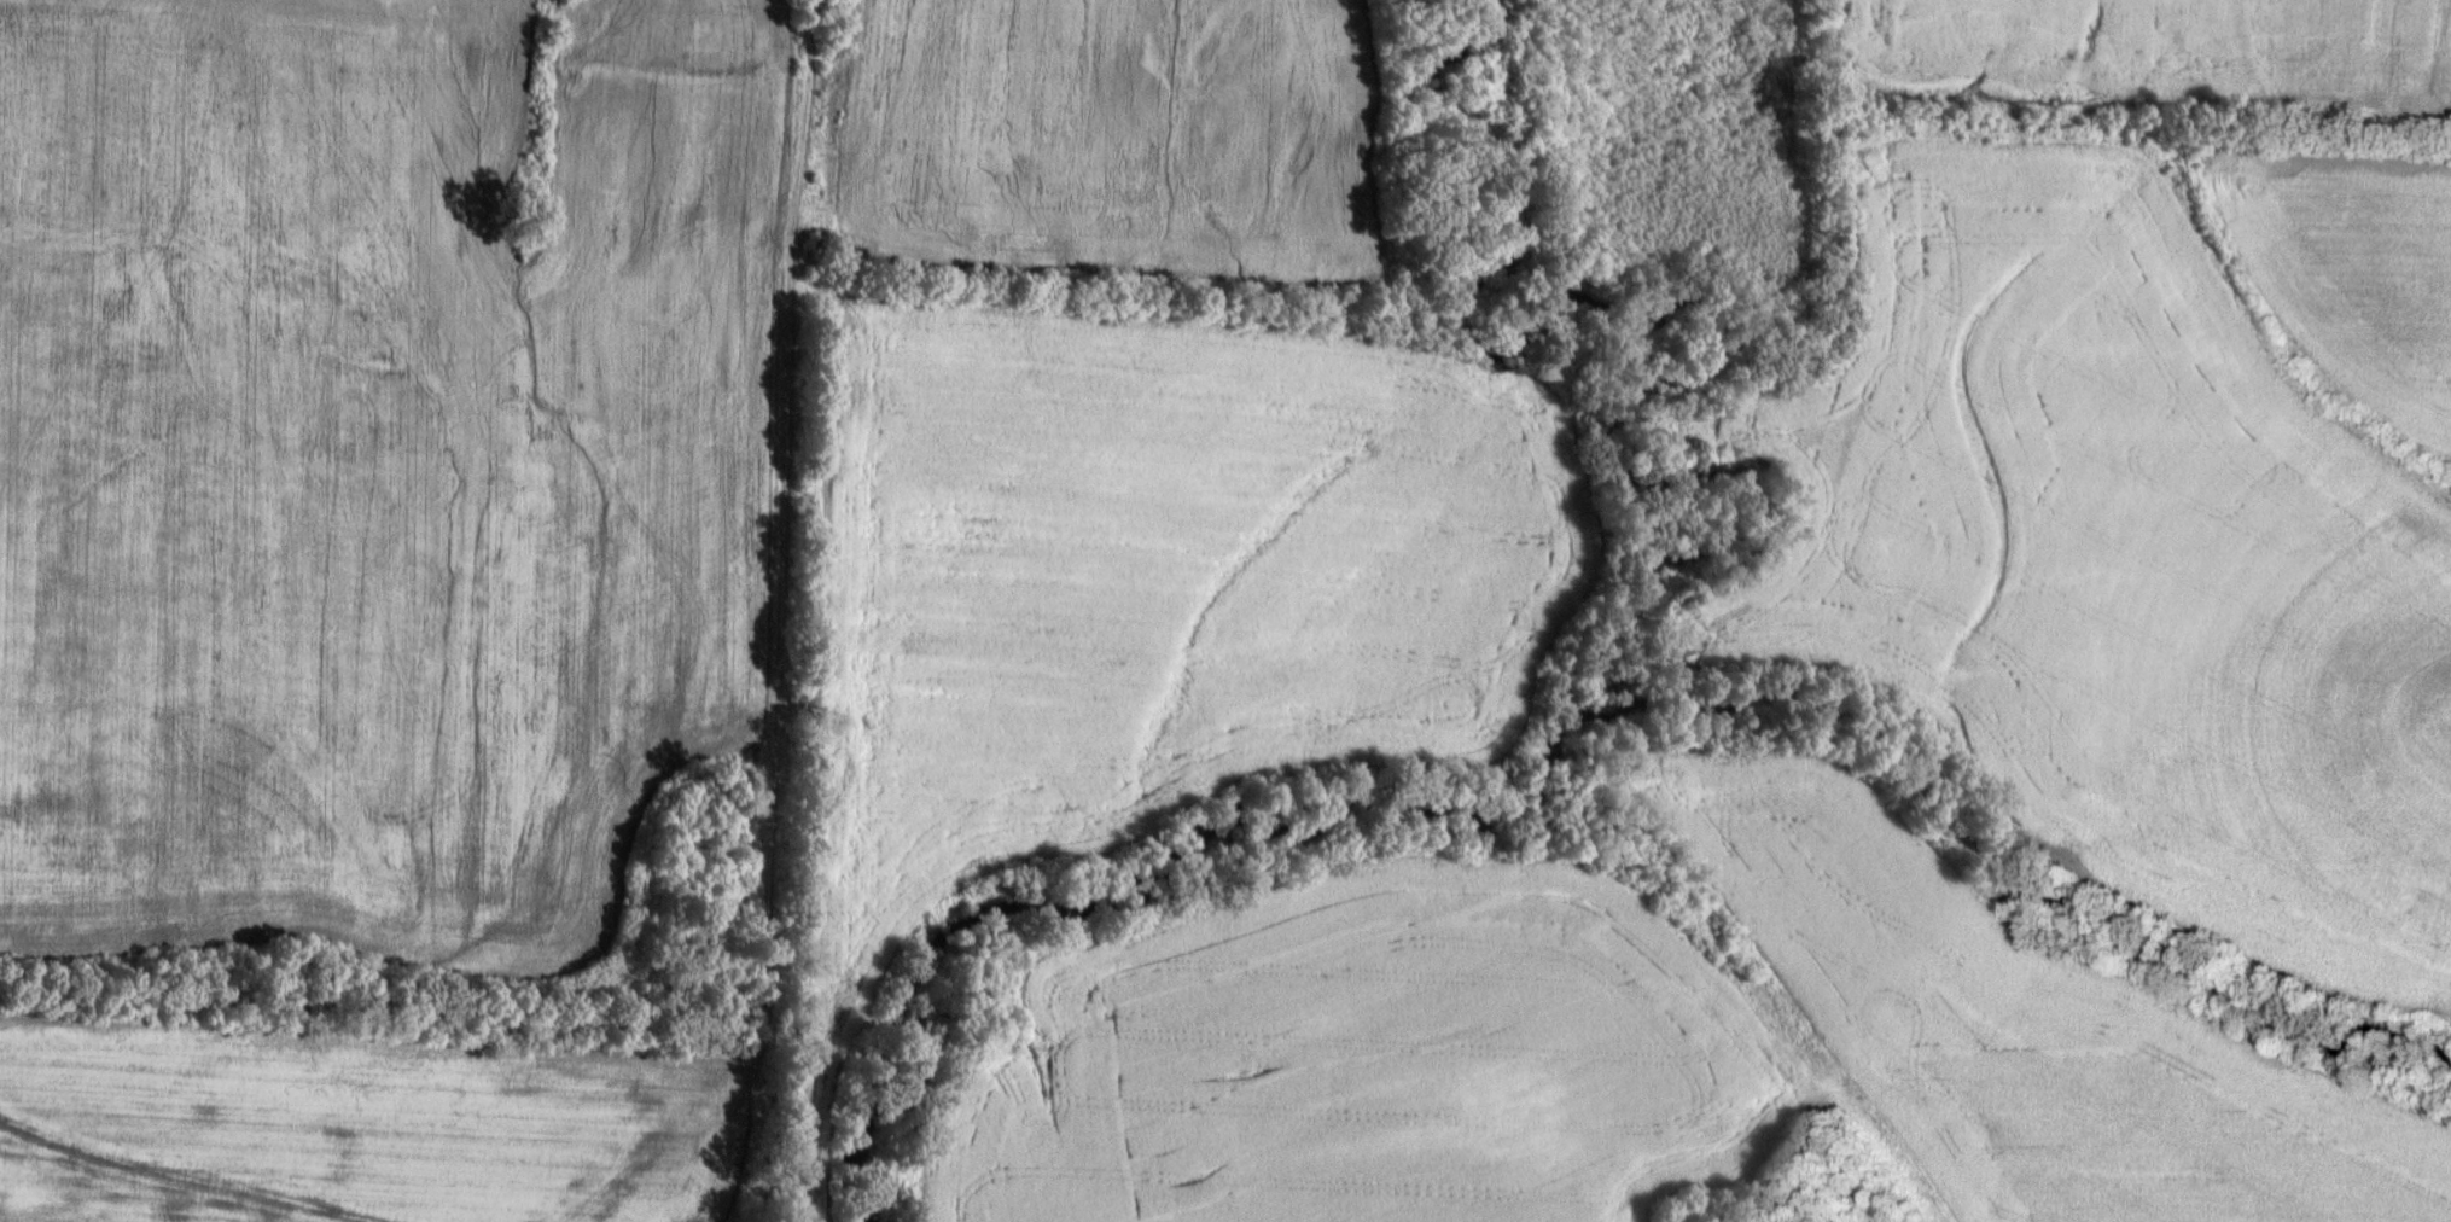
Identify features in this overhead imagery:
road: (1289, 133)

